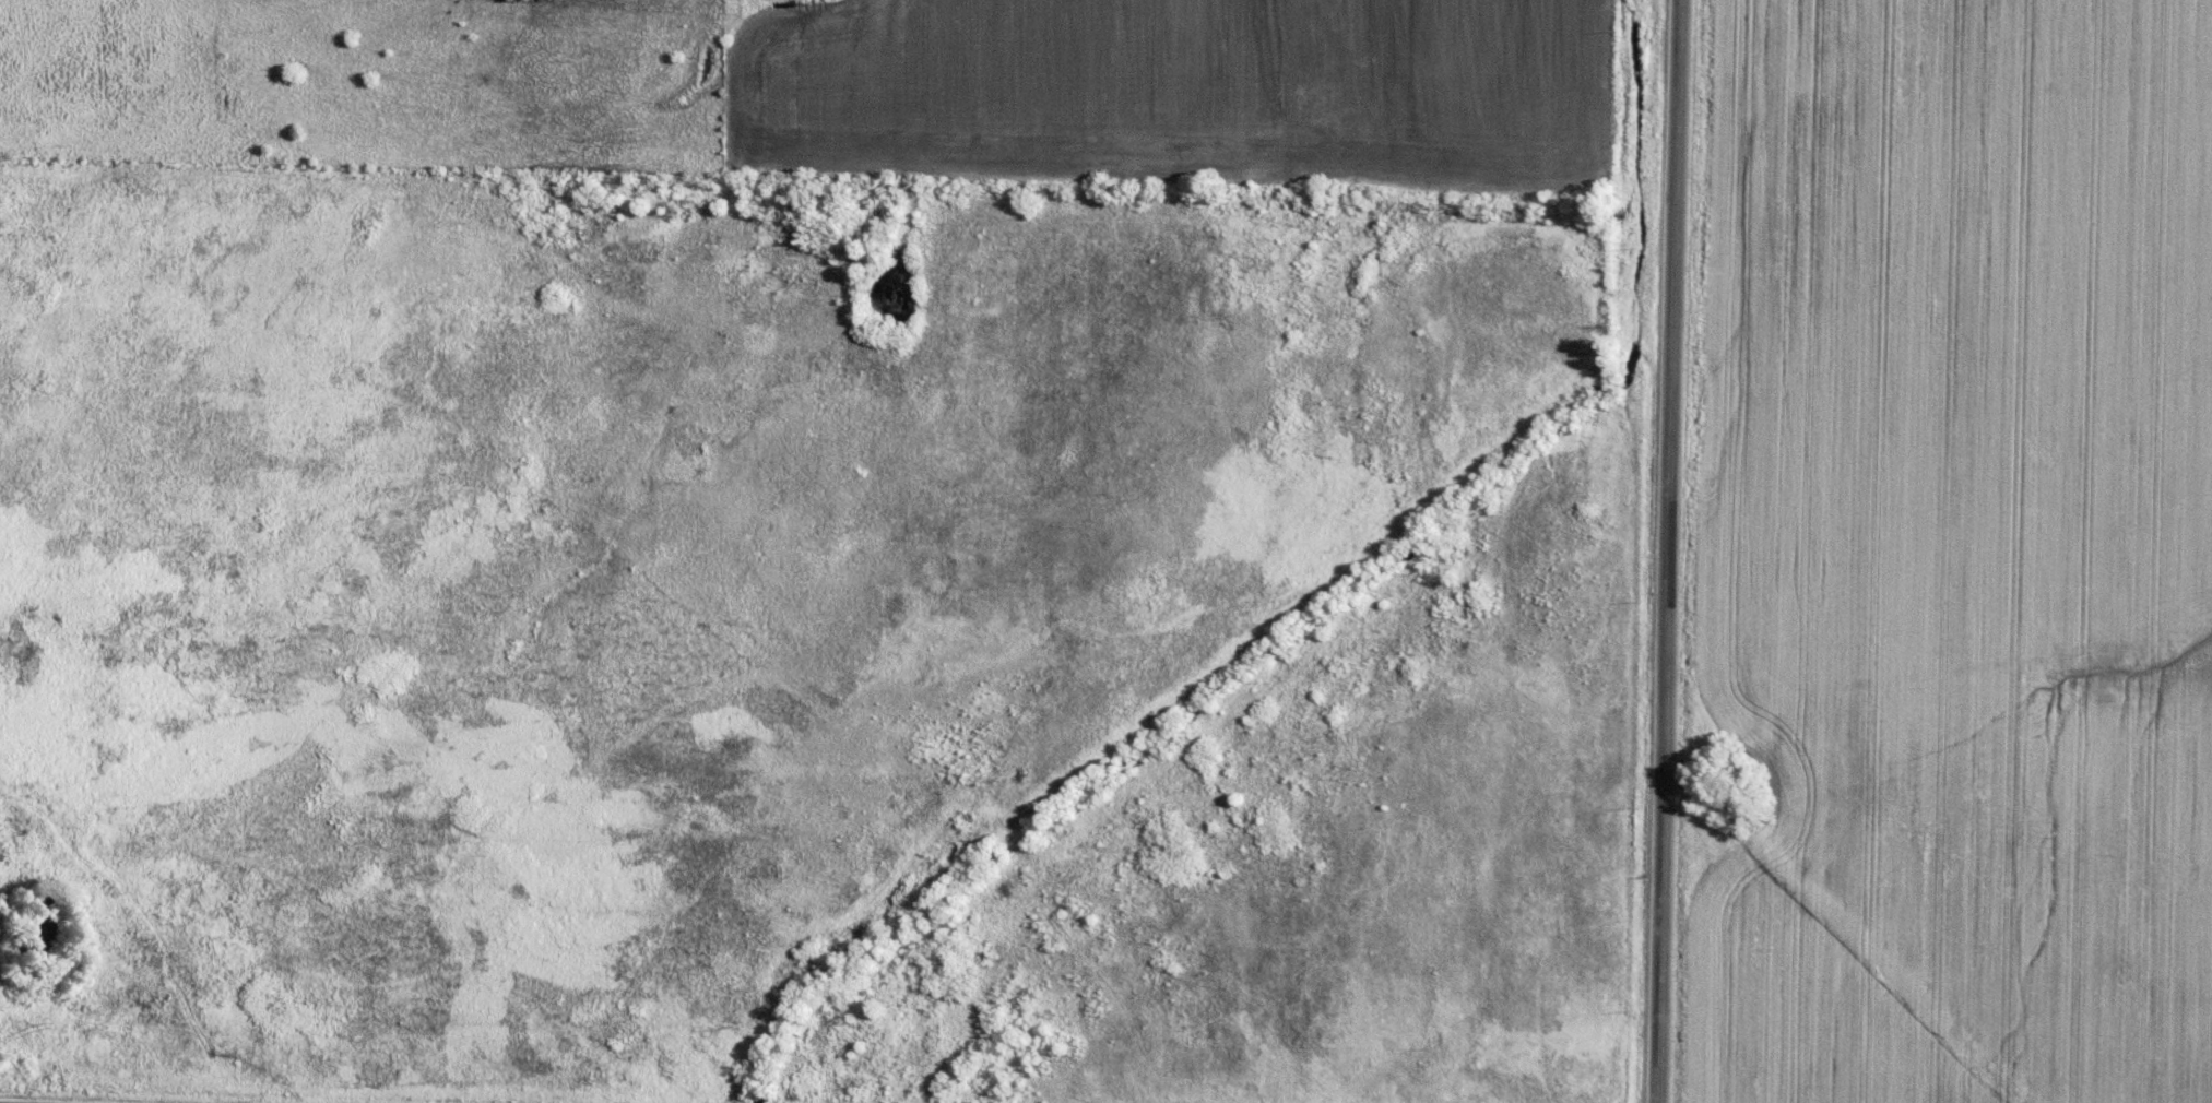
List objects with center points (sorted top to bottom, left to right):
road: (1667, 550)

